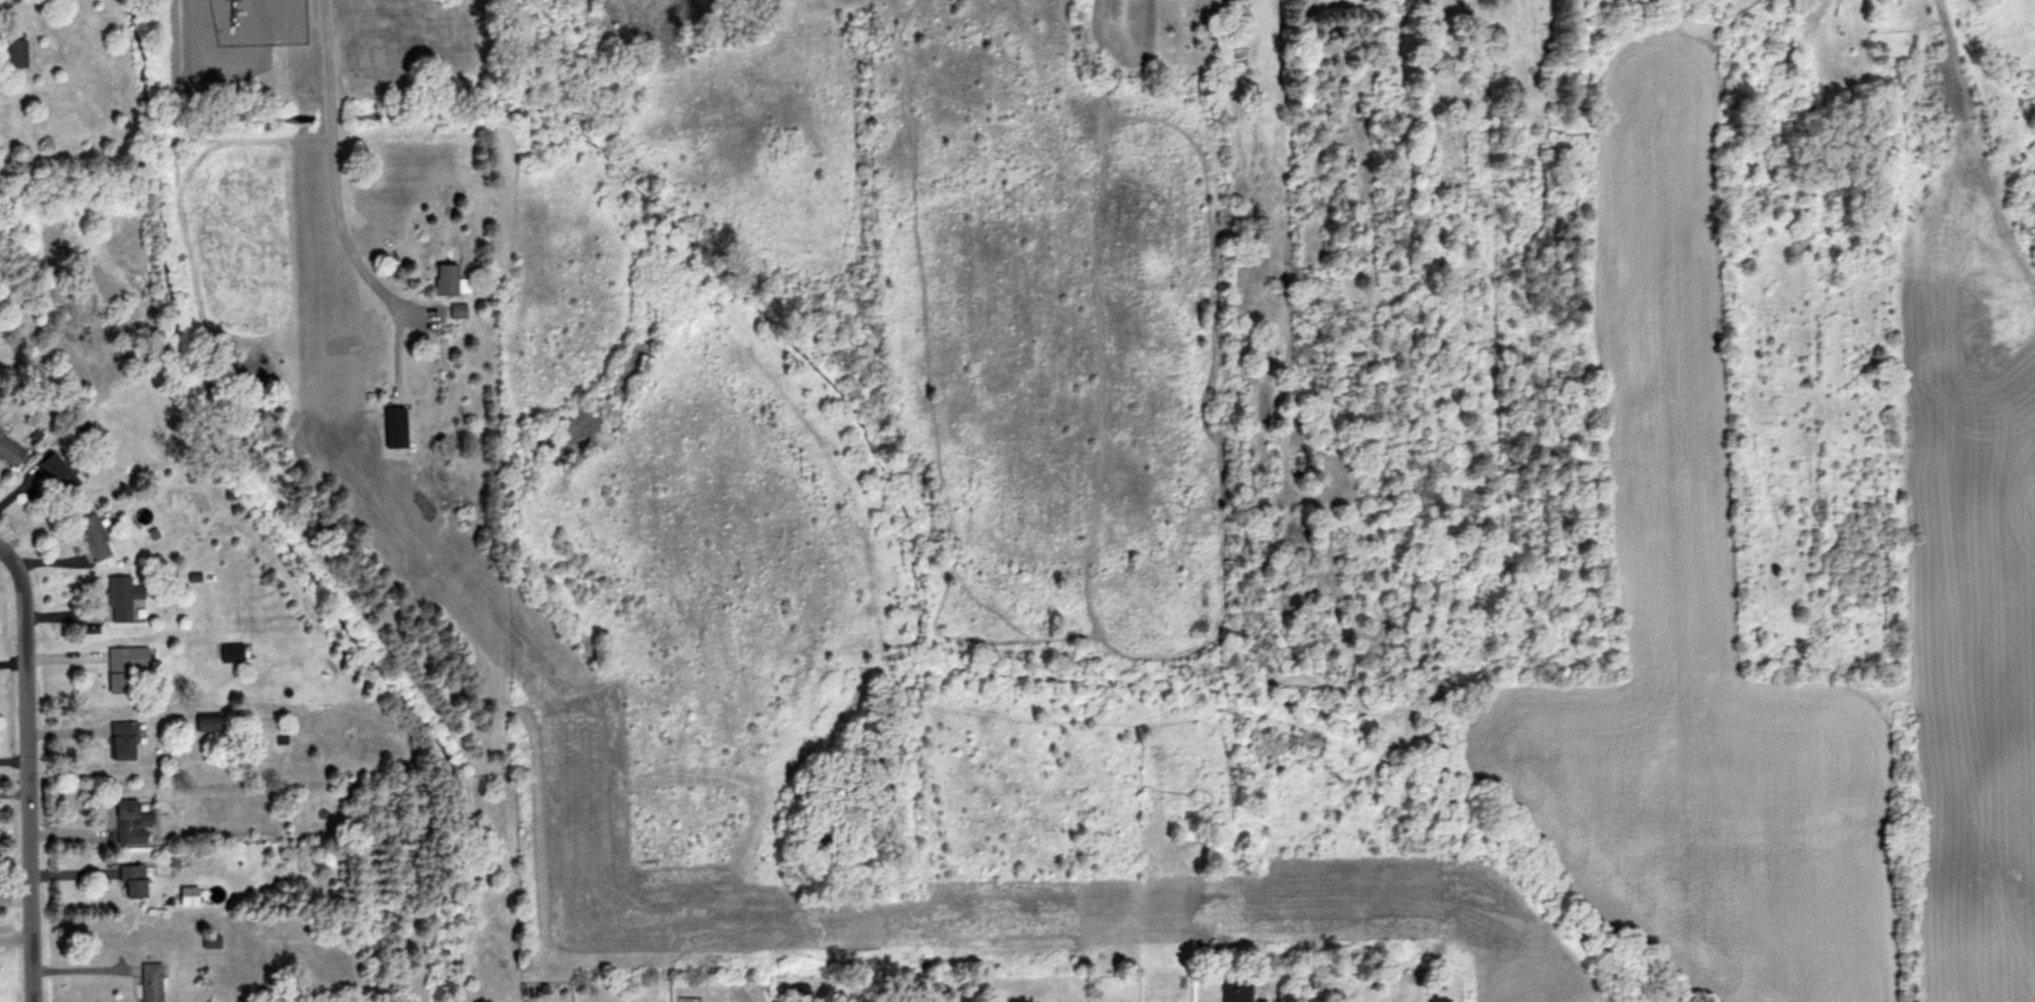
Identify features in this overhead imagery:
building: (1229, 0)
building: (14, 54)
road: (1975, 138)
road: (333, 187)
building: (445, 279)
building: (455, 311)
building: (394, 428)
building: (9, 453)
building: (57, 473)
building: (94, 538)
building: (120, 598)
building: (229, 653)
building: (118, 671)
building: (208, 725)
building: (122, 741)
road: (33, 767)
building: (131, 824)
building: (133, 882)
building: (187, 896)
building: (150, 983)
building: (938, 985)
building: (1236, 989)
building: (800, 993)

